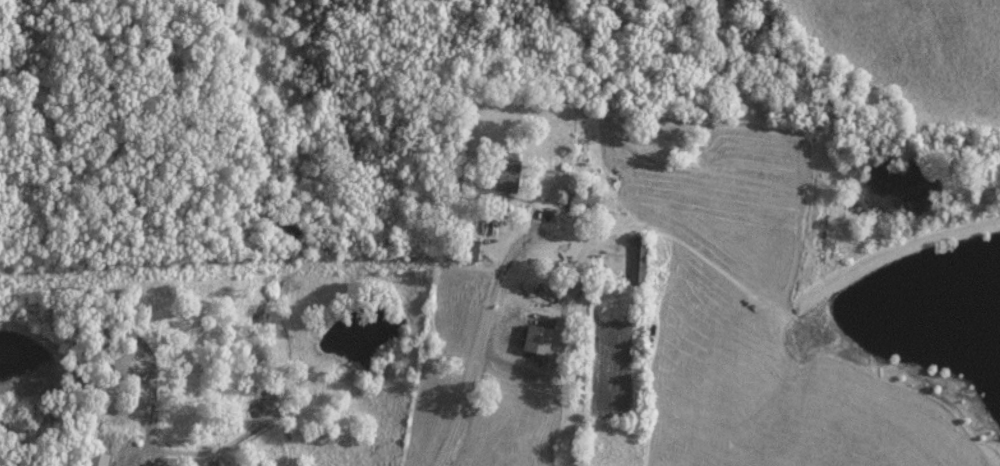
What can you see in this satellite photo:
building: (504, 176)
building: (580, 198)
building: (469, 248)
building: (636, 260)
road: (481, 330)
building: (94, 459)

